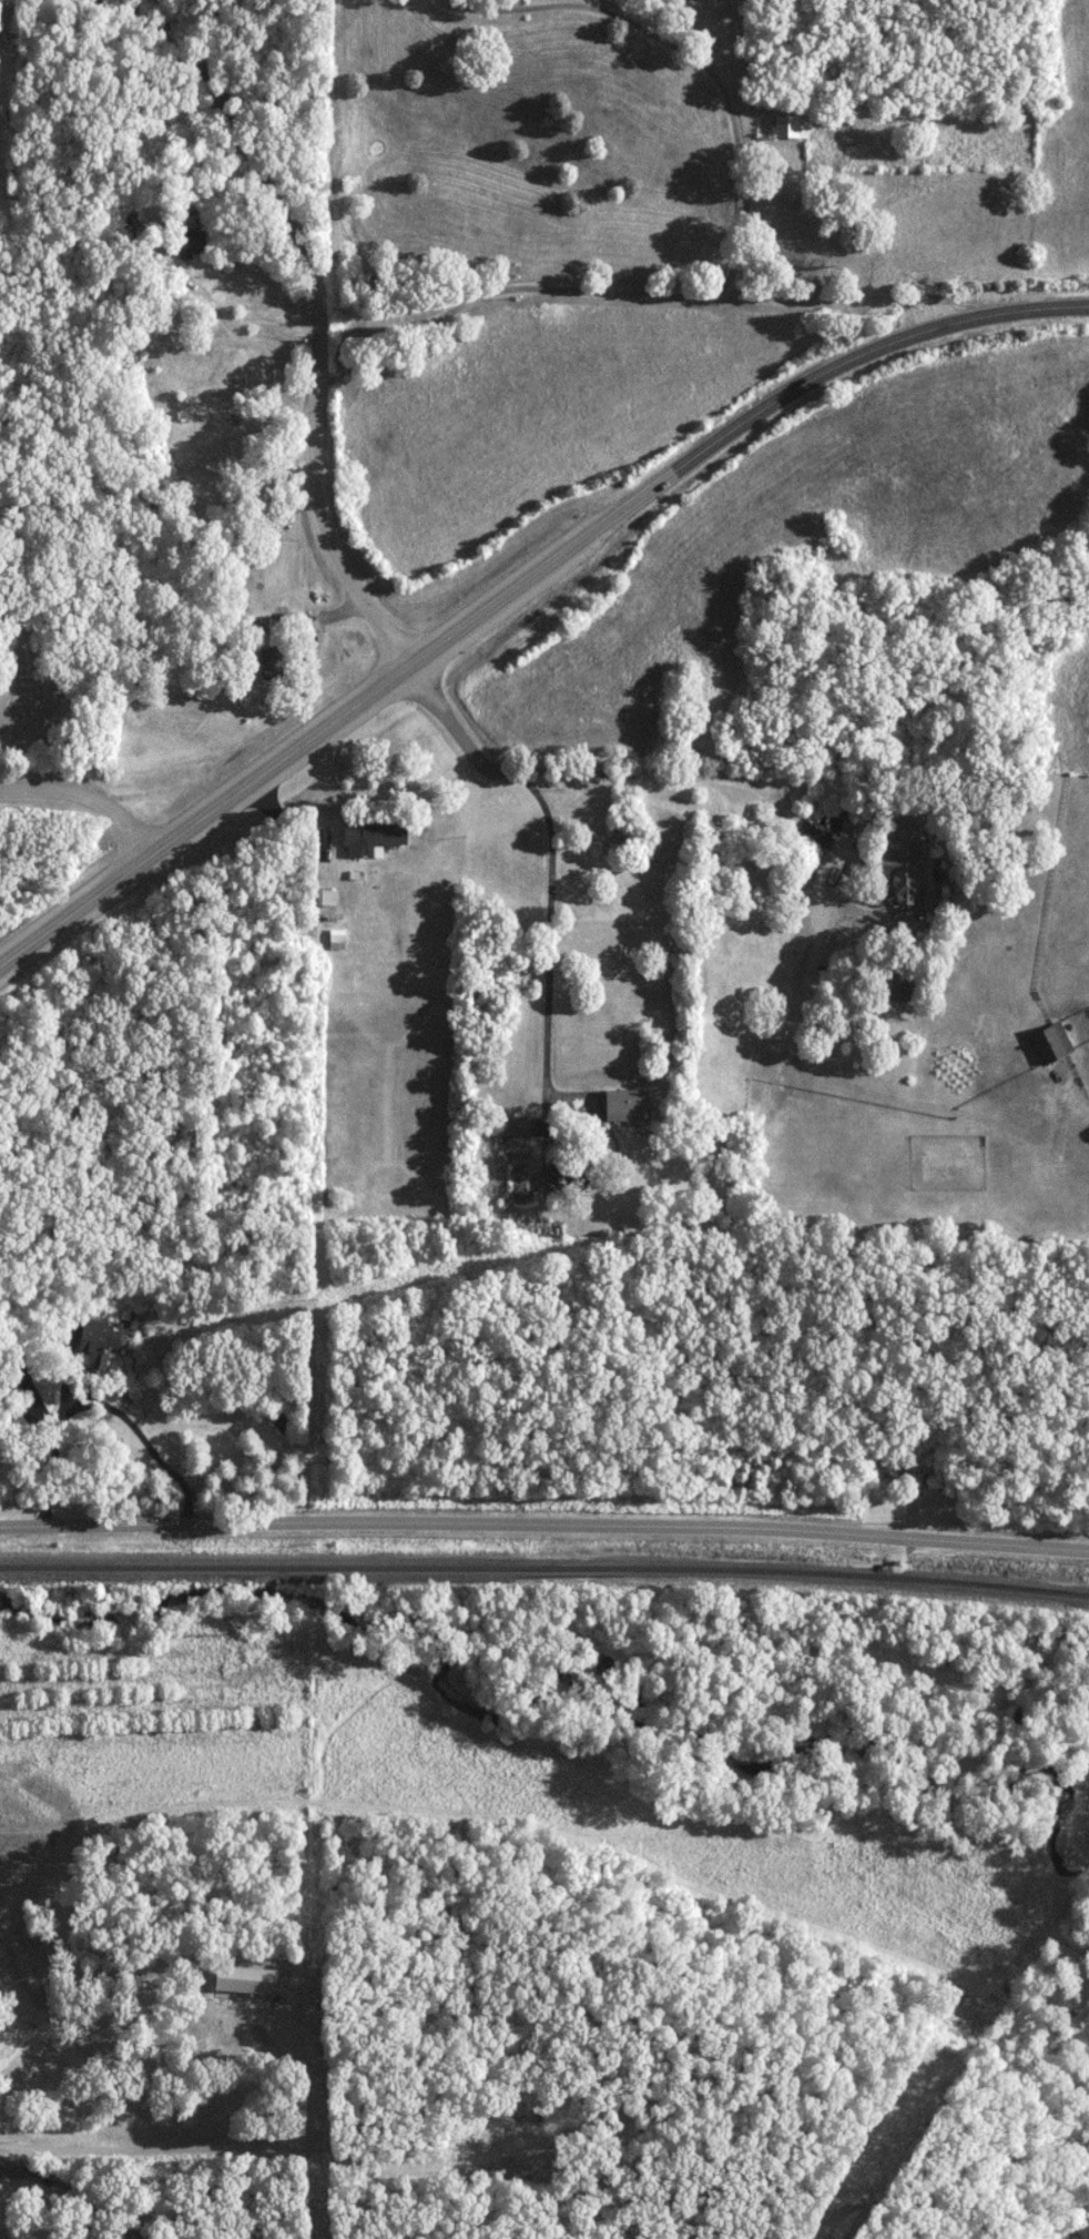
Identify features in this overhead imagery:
building: (792, 125)
road: (372, 134)
building: (191, 242)
road: (378, 243)
road: (734, 252)
road: (329, 311)
road: (521, 586)
building: (272, 663)
road: (89, 796)
building: (374, 838)
road: (552, 859)
building: (904, 863)
building: (338, 940)
building: (897, 984)
building: (1051, 1044)
building: (628, 1105)
building: (511, 1126)
building: (582, 1186)
building: (92, 1340)
building: (11, 1377)
road: (103, 1405)
building: (281, 1421)
building: (900, 1473)
road: (544, 1523)
railway: (544, 1567)
road: (206, 2145)
road: (75, 2187)
road: (78, 2212)

